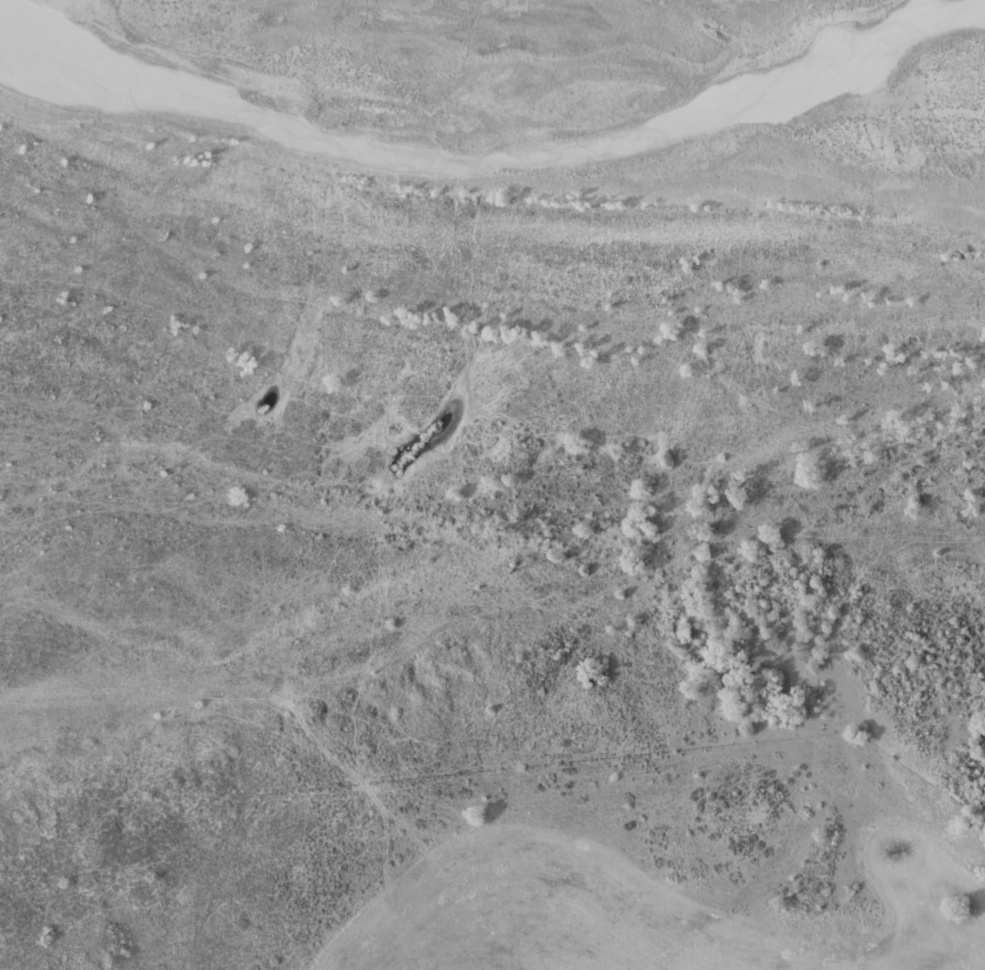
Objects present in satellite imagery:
river: (498, 147)

